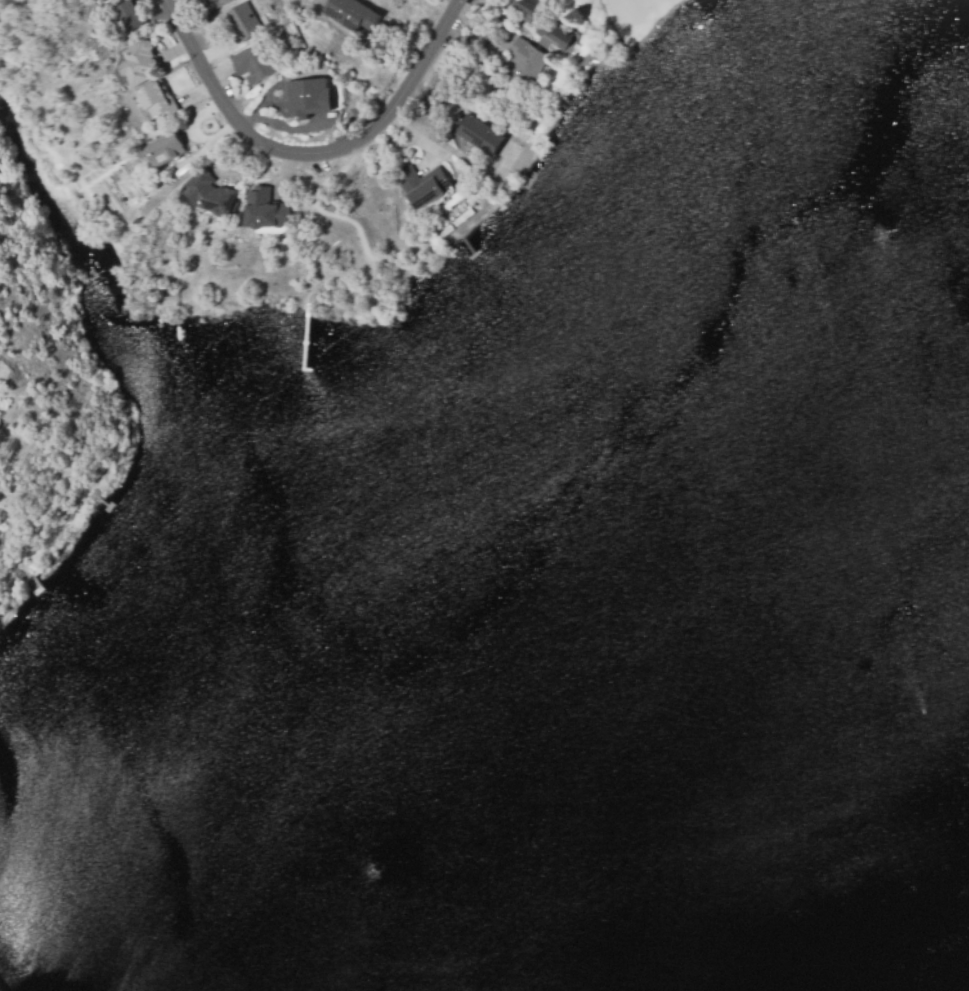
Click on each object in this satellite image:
building: (208, 1)
building: (353, 14)
building: (126, 16)
building: (243, 20)
building: (553, 34)
building: (525, 59)
building: (252, 61)
building: (138, 63)
building: (305, 96)
building: (156, 100)
building: (479, 134)
building: (167, 146)
road: (321, 155)
building: (421, 183)
building: (207, 195)
building: (262, 208)
pier: (302, 337)

